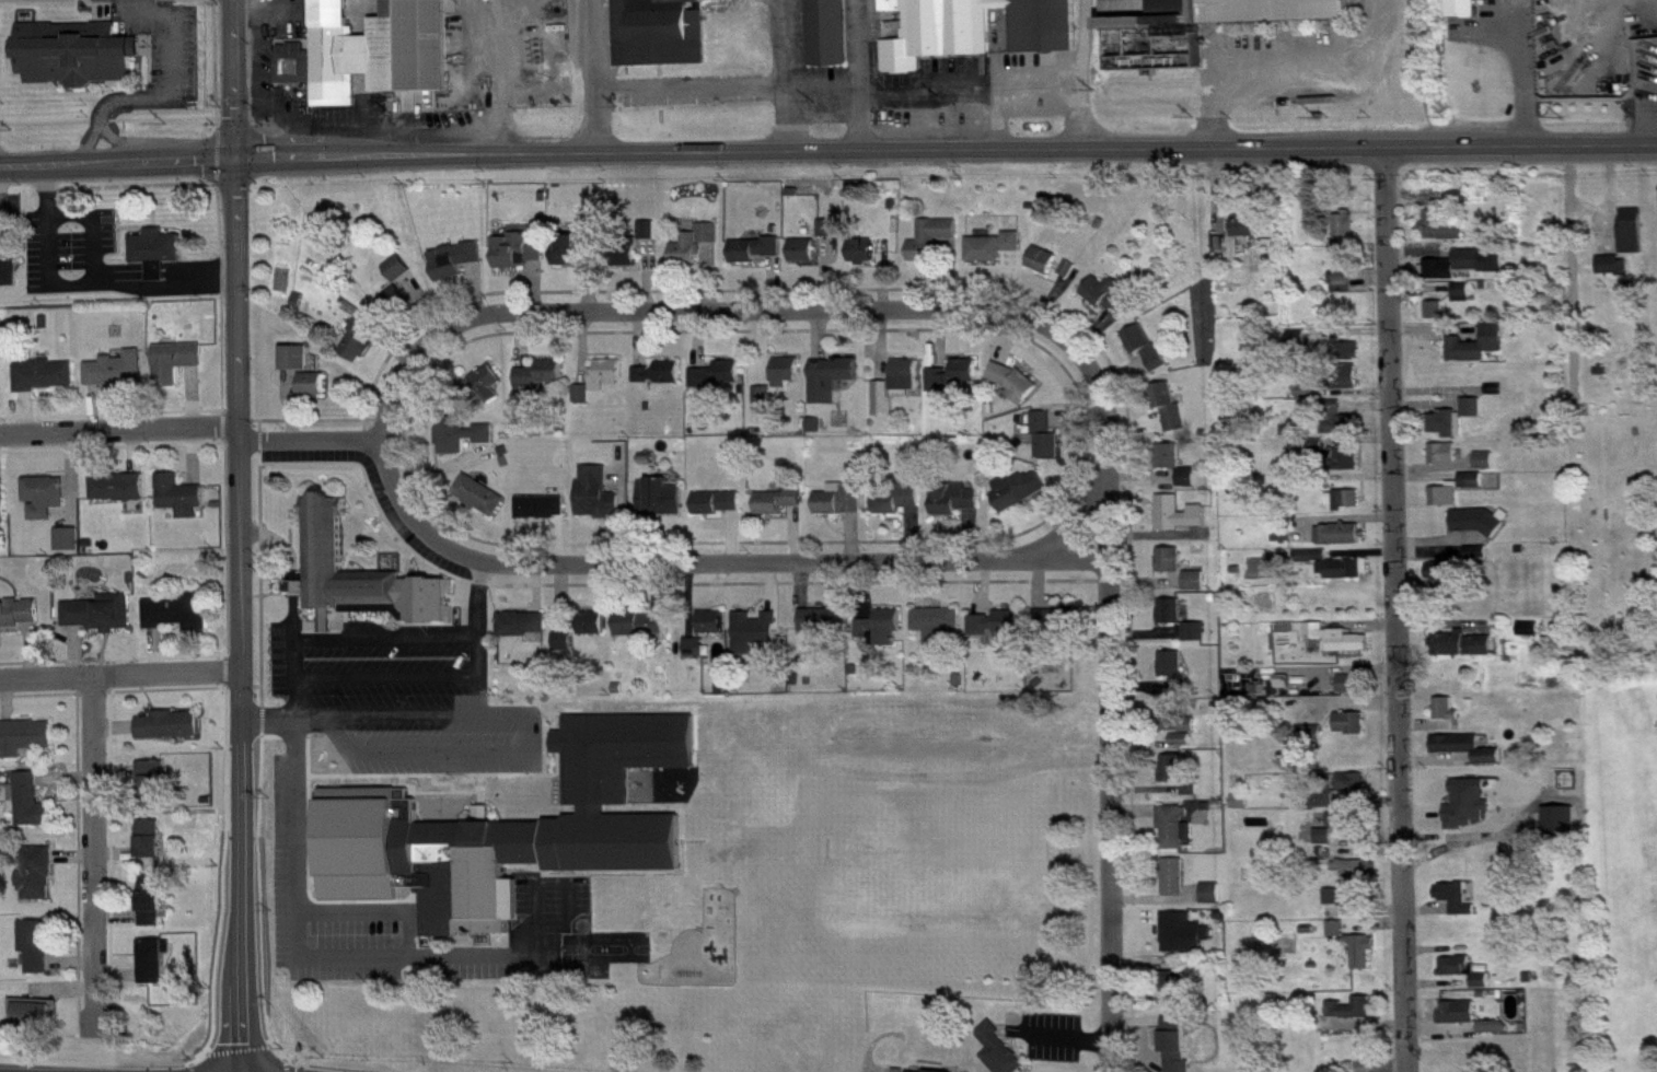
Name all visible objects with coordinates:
road: (245, 9)
building: (1467, 12)
building: (1228, 19)
building: (980, 33)
building: (662, 37)
building: (831, 37)
building: (381, 57)
building: (79, 62)
road: (1291, 71)
building: (297, 72)
road: (1520, 74)
road: (790, 77)
road: (862, 77)
road: (593, 78)
road: (231, 79)
road: (496, 79)
road: (692, 88)
road: (259, 89)
road: (997, 107)
road: (1004, 130)
road: (943, 153)
traffic signals: (230, 159)
road: (115, 164)
road: (1607, 193)
building: (1462, 202)
building: (594, 233)
building: (1249, 235)
building: (1445, 236)
building: (832, 237)
building: (652, 238)
building: (1347, 238)
building: (1634, 240)
building: (711, 242)
building: (935, 248)
building: (996, 256)
building: (757, 258)
building: (514, 259)
building: (570, 259)
building: (688, 259)
building: (807, 259)
building: (159, 260)
building: (866, 261)
building: (540, 263)
building: (631, 263)
building: (457, 269)
building: (1046, 269)
road: (1569, 271)
building: (1469, 272)
building: (1612, 273)
building: (401, 277)
building: (9, 278)
building: (1071, 278)
building: (1346, 290)
building: (1464, 302)
building: (1110, 305)
road: (751, 307)
building: (397, 308)
building: (1438, 318)
building: (361, 347)
building: (1480, 353)
building: (1148, 357)
building: (1351, 359)
building: (297, 366)
building: (179, 370)
building: (120, 380)
building: (789, 381)
building: (610, 382)
building: (662, 382)
building: (47, 384)
building: (543, 384)
building: (719, 384)
building: (958, 385)
building: (1, 386)
building: (1349, 386)
building: (834, 387)
building: (1018, 391)
building: (489, 392)
building: (316, 393)
building: (899, 396)
building: (1309, 399)
building: (584, 403)
building: (766, 408)
building: (1172, 416)
road: (119, 428)
building: (1458, 428)
building: (1343, 429)
road: (311, 438)
building: (464, 444)
building: (1048, 445)
building: (1446, 463)
building: (1172, 465)
building: (1348, 467)
building: (1487, 469)
building: (1190, 486)
building: (1474, 489)
building: (121, 497)
building: (1021, 498)
building: (599, 503)
building: (483, 504)
building: (46, 505)
building: (183, 505)
building: (1447, 505)
building: (662, 506)
building: (901, 508)
building: (957, 508)
building: (844, 509)
building: (1349, 509)
building: (781, 510)
building: (3, 511)
building: (721, 511)
building: (544, 516)
building: (1182, 522)
road: (1067, 523)
building: (1481, 529)
building: (1285, 538)
building: (1341, 544)
building: (70, 548)
road: (710, 560)
building: (1480, 561)
building: (1336, 573)
building: (1183, 578)
building: (1445, 580)
building: (361, 585)
road: (1399, 610)
road: (241, 615)
building: (1173, 620)
building: (102, 621)
building: (181, 621)
building: (19, 622)
building: (823, 630)
building: (1057, 630)
building: (715, 631)
building: (1010, 631)
building: (525, 632)
building: (595, 632)
building: (939, 632)
building: (644, 633)
road: (477, 636)
building: (884, 637)
building: (985, 637)
road: (385, 638)
building: (1531, 638)
building: (757, 640)
building: (1198, 641)
building: (1337, 646)
building: (566, 651)
building: (1463, 653)
building: (698, 656)
road: (293, 672)
road: (120, 673)
road: (385, 676)
building: (1175, 678)
building: (1354, 692)
parking lot: (403, 696)
building: (1441, 704)
building: (1346, 719)
building: (1448, 719)
road: (286, 720)
building: (1353, 732)
building: (172, 734)
road: (532, 739)
building: (1462, 744)
building: (26, 746)
building: (1181, 749)
road: (1111, 757)
building: (1470, 757)
building: (1177, 777)
building: (1347, 778)
building: (157, 791)
building: (1354, 793)
building: (1193, 799)
building: (1463, 799)
building: (1326, 809)
building: (32, 811)
building: (509, 827)
building: (1342, 828)
building: (1180, 836)
road: (96, 846)
building: (1326, 846)
building: (152, 848)
building: (1352, 864)
building: (1354, 877)
building: (39, 883)
building: (1177, 886)
building: (1451, 894)
building: (1215, 902)
building: (1348, 906)
building: (1458, 907)
building: (153, 910)
building: (1339, 937)
building: (1185, 942)
building: (39, 954)
building: (1365, 960)
building: (155, 970)
building: (1469, 979)
building: (1183, 998)
building: (1354, 1017)
building: (1464, 1022)
building: (36, 1023)
building: (1496, 1036)
building: (1179, 1049)
building: (998, 1054)
building: (1368, 1071)

